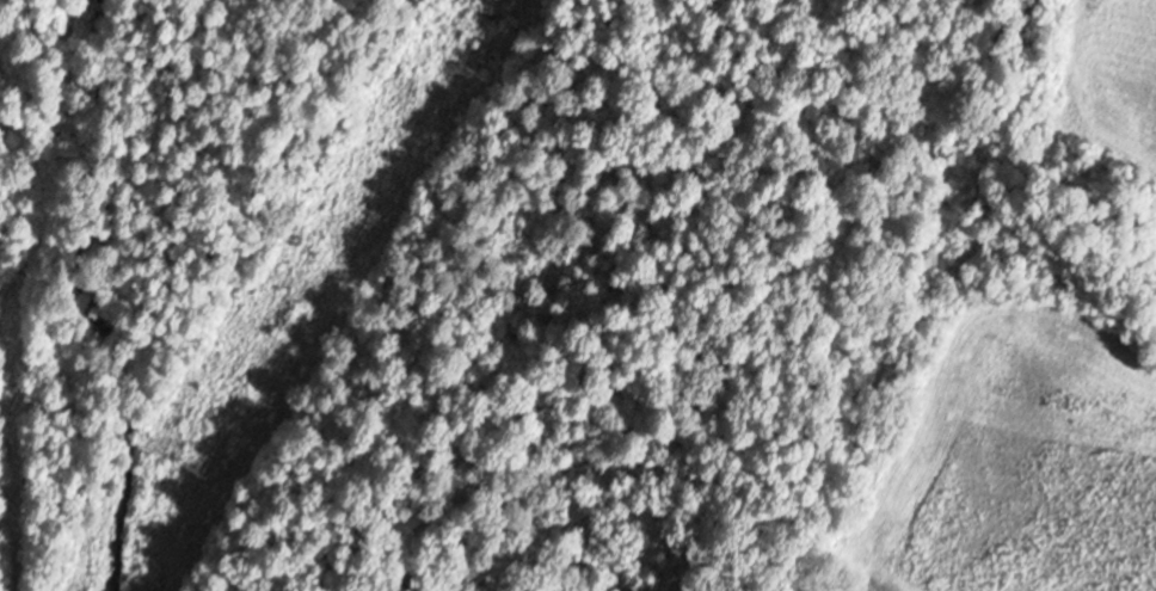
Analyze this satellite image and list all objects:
power tower: (195, 460)

